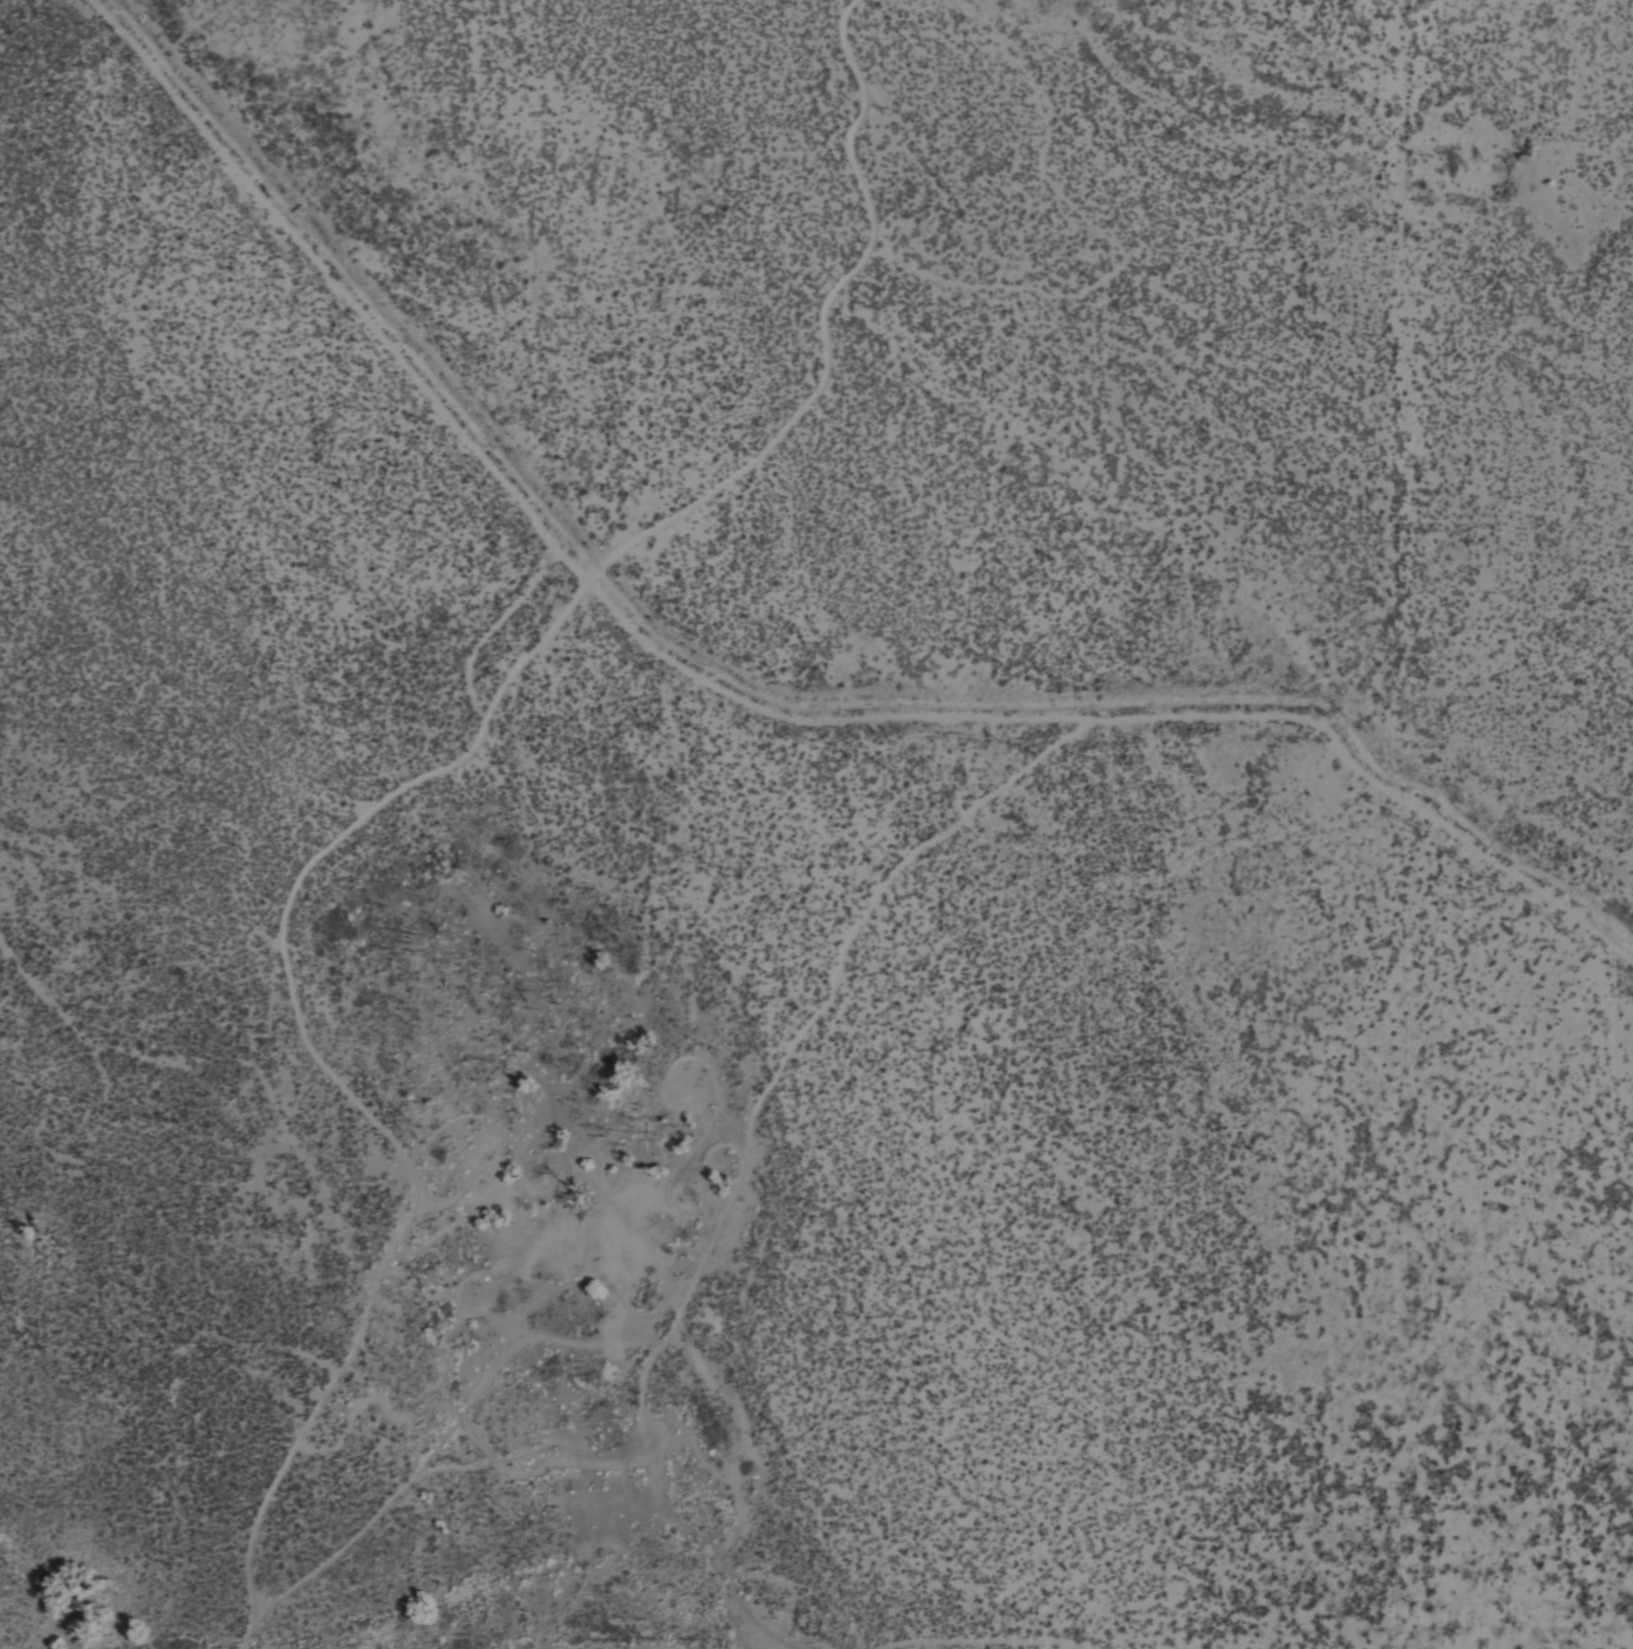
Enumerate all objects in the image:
road: (507, 625)
road: (753, 698)
road: (436, 774)
road: (707, 1262)

